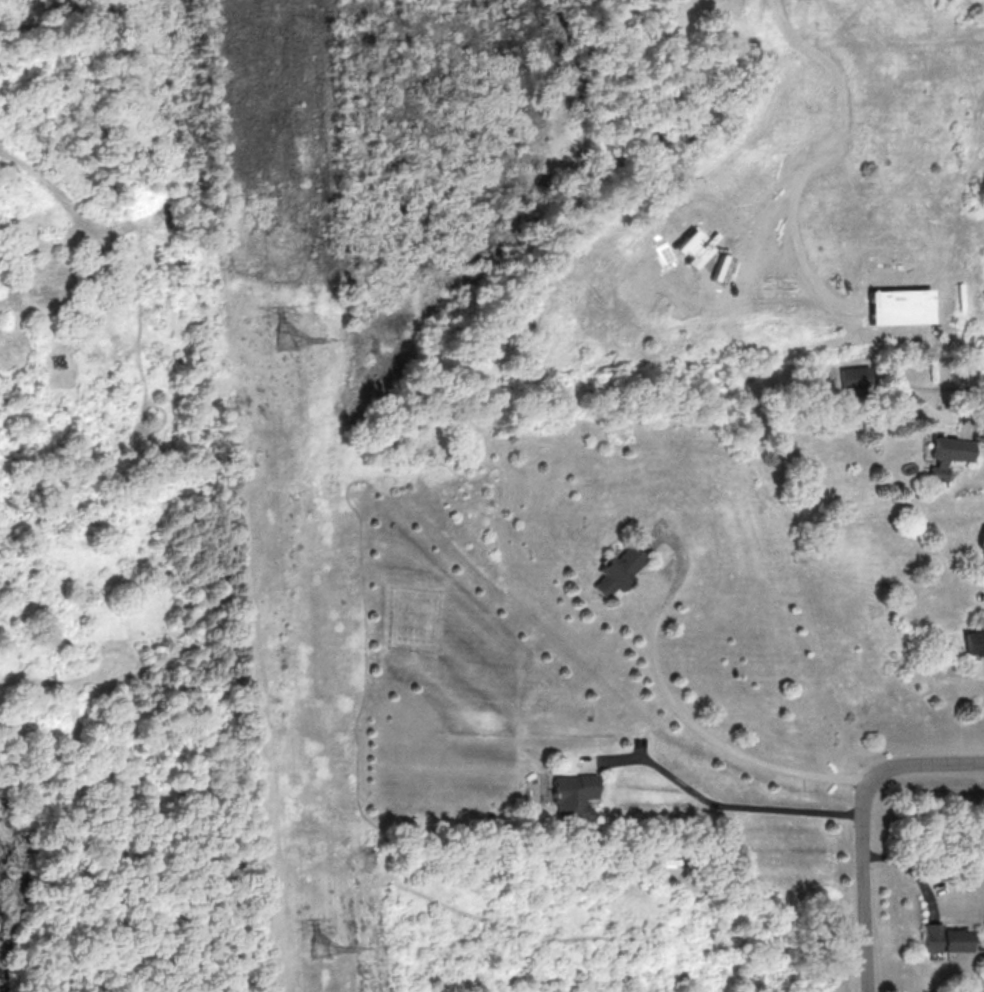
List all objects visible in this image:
building: (898, 306)
power tower: (287, 338)
building: (853, 380)
building: (946, 454)
building: (618, 570)
building: (973, 642)
road: (689, 721)
road: (929, 767)
building: (572, 796)
road: (723, 807)
road: (861, 880)
building: (943, 938)
power tower: (323, 947)

